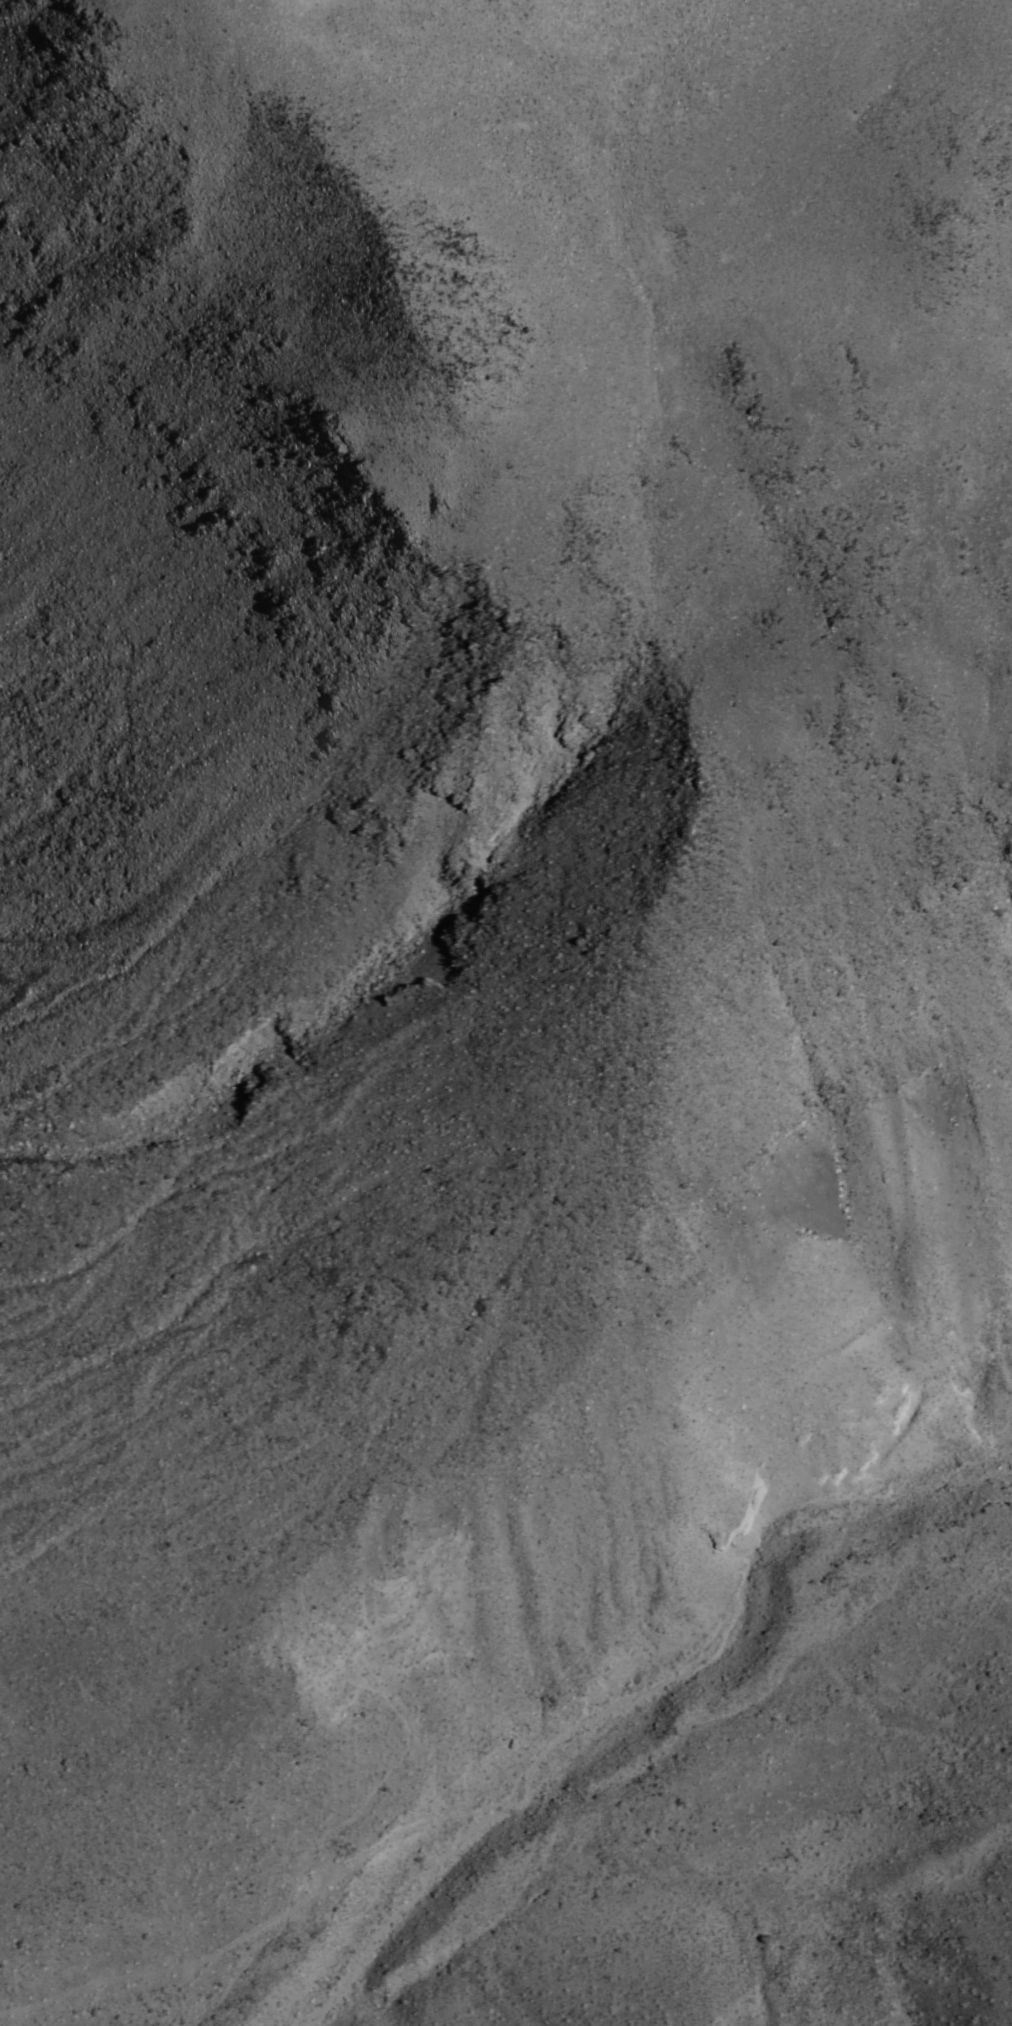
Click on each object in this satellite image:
road: (224, 1943)

